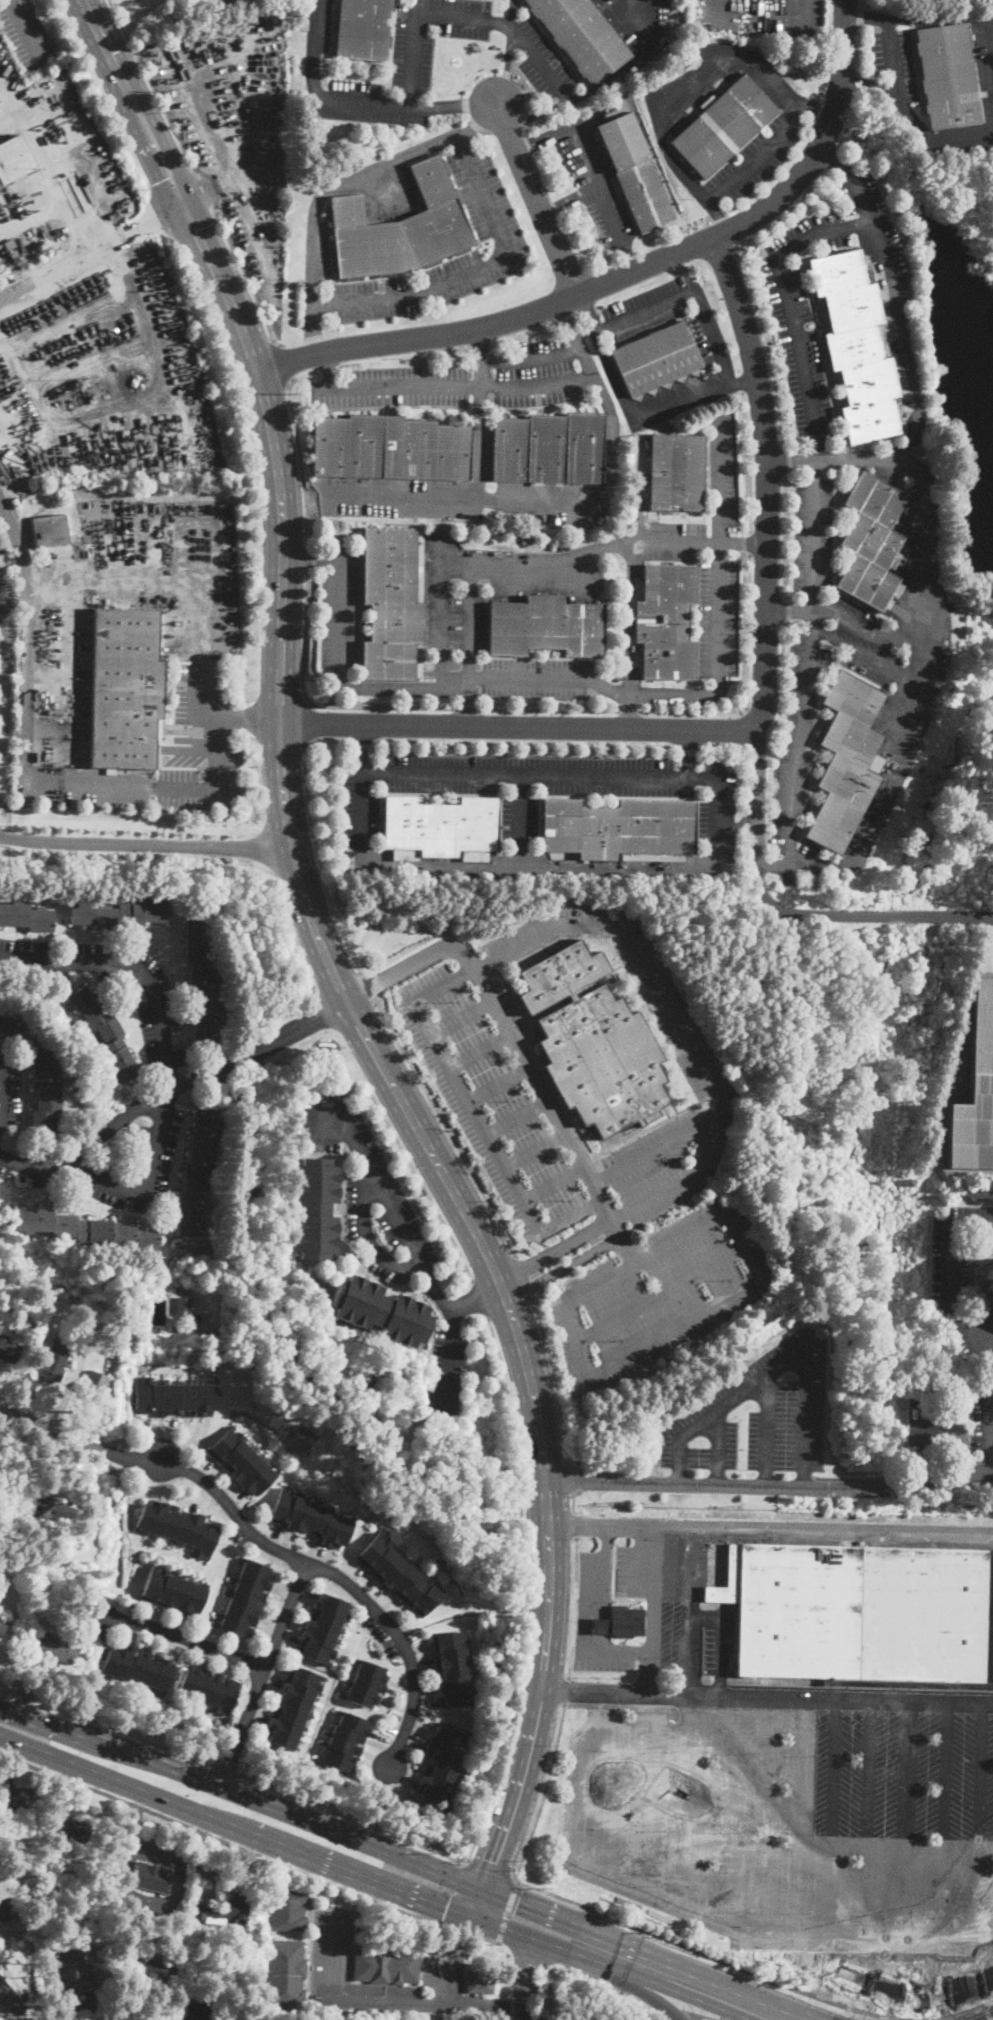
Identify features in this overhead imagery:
building: (215, 3)
road: (513, 11)
road: (420, 13)
road: (866, 16)
road: (963, 17)
building: (363, 29)
road: (25, 30)
building: (581, 36)
parking lot: (431, 37)
road: (313, 49)
parking lot: (541, 61)
road: (507, 63)
building: (947, 76)
road: (603, 83)
road: (870, 84)
road: (153, 85)
road: (683, 85)
parking lot: (368, 103)
road: (452, 105)
road: (814, 105)
road: (908, 114)
building: (723, 126)
road: (844, 136)
road: (543, 138)
road: (761, 158)
building: (13, 159)
road: (833, 160)
road: (835, 161)
building: (633, 169)
road: (359, 175)
road: (171, 181)
parking lot: (595, 181)
road: (594, 186)
road: (204, 190)
road: (538, 198)
road: (569, 199)
traffic signals: (183, 204)
road: (155, 213)
road: (717, 216)
road: (189, 222)
building: (400, 227)
parking lot: (874, 230)
road: (114, 236)
parking lot: (507, 236)
building: (9, 245)
building: (14, 255)
road: (626, 260)
road: (474, 269)
building: (15, 272)
road: (629, 274)
road: (245, 278)
road: (691, 288)
road: (751, 290)
road: (588, 312)
parking lot: (669, 315)
parking lot: (801, 316)
road: (314, 330)
road: (903, 342)
building: (856, 344)
road: (531, 357)
building: (657, 360)
road: (286, 362)
road: (328, 368)
parking lot: (535, 374)
road: (744, 381)
parking lot: (393, 386)
road: (461, 386)
road: (479, 413)
road: (636, 422)
building: (390, 449)
building: (548, 449)
road: (301, 457)
road: (749, 460)
parking lot: (722, 470)
building: (676, 473)
road: (816, 480)
building: (637, 483)
building: (14, 500)
road: (572, 502)
road: (927, 502)
building: (634, 517)
building: (629, 526)
building: (49, 531)
road: (743, 540)
road: (750, 542)
building: (872, 542)
road: (593, 549)
road: (308, 553)
road: (311, 555)
parking lot: (702, 587)
building: (391, 604)
road: (790, 612)
road: (719, 614)
road: (467, 616)
road: (629, 616)
road: (339, 619)
building: (666, 621)
parking lot: (455, 623)
road: (29, 627)
building: (546, 627)
parking lot: (352, 628)
road: (872, 630)
road: (305, 634)
road: (865, 658)
road: (444, 669)
road: (455, 673)
road: (528, 676)
parking lot: (534, 677)
road: (748, 683)
building: (125, 688)
road: (466, 700)
road: (380, 706)
road: (466, 707)
road: (549, 709)
road: (629, 710)
road: (630, 710)
road: (757, 715)
road: (243, 719)
road: (305, 725)
building: (157, 731)
road: (361, 746)
road: (687, 752)
road: (222, 754)
building: (846, 761)
road: (363, 770)
road: (881, 812)
parking lot: (519, 817)
road: (521, 820)
road: (739, 821)
building: (440, 825)
building: (618, 828)
road: (3, 837)
road: (148, 845)
road: (291, 849)
road: (320, 862)
road: (773, 869)
road: (778, 909)
building: (119, 913)
road: (983, 916)
building: (26, 917)
road: (135, 964)
building: (203, 983)
road: (367, 987)
parking lot: (156, 1007)
building: (11, 1023)
building: (105, 1033)
building: (593, 1042)
building: (971, 1085)
parking lot: (9, 1086)
road: (2, 1091)
building: (44, 1092)
road: (171, 1092)
road: (445, 1127)
parking lot: (107, 1166)
building: (197, 1173)
road: (420, 1180)
road: (149, 1182)
parking lot: (370, 1191)
building: (314, 1208)
road: (972, 1228)
building: (87, 1229)
road: (366, 1234)
road: (404, 1235)
road: (451, 1274)
road: (523, 1275)
building: (990, 1280)
building: (184, 1291)
road: (480, 1299)
building: (183, 1306)
building: (379, 1310)
road: (974, 1330)
road: (987, 1338)
building: (9, 1351)
building: (55, 1362)
road: (446, 1363)
road: (780, 1365)
parking lot: (446, 1372)
road: (992, 1373)
road: (555, 1381)
building: (94, 1384)
building: (176, 1396)
parking lot: (756, 1420)
road: (765, 1429)
parking lot: (927, 1430)
road: (928, 1436)
road: (718, 1445)
building: (241, 1460)
building: (652, 1468)
road: (572, 1478)
road: (769, 1484)
road: (573, 1500)
building: (53, 1509)
building: (310, 1517)
road: (574, 1523)
building: (177, 1525)
road: (770, 1528)
road: (267, 1542)
road: (604, 1561)
building: (399, 1574)
road: (283, 1587)
building: (173, 1590)
building: (244, 1597)
road: (574, 1606)
road: (651, 1608)
building: (858, 1610)
building: (4, 1613)
road: (705, 1616)
road: (583, 1618)
building: (989, 1621)
building: (620, 1622)
building: (2, 1625)
road: (602, 1625)
building: (321, 1629)
road: (188, 1639)
building: (59, 1648)
road: (615, 1652)
building: (373, 1654)
road: (251, 1663)
building: (139, 1665)
building: (452, 1667)
road: (262, 1672)
building: (366, 1683)
building: (208, 1688)
road: (566, 1690)
road: (766, 1695)
building: (292, 1704)
road: (510, 1711)
road: (232, 1721)
road: (148, 1740)
building: (345, 1740)
building: (441, 1763)
road: (226, 1769)
road: (517, 1788)
road: (542, 1792)
road: (242, 1793)
building: (20, 1799)
road: (727, 1807)
road: (763, 1813)
road: (797, 1813)
road: (833, 1814)
road: (868, 1814)
road: (907, 1815)
road: (945, 1815)
road: (981, 1816)
parking lot: (789, 1817)
building: (28, 1820)
building: (73, 1830)
road: (264, 1837)
road: (247, 1850)
traffic signals: (493, 1862)
road: (490, 1869)
building: (4, 1871)
building: (150, 1877)
road: (454, 1893)
road: (479, 1903)
traffic signals: (517, 1903)
road: (693, 1907)
building: (4, 1908)
building: (288, 1908)
traffic signals: (447, 1908)
building: (225, 1910)
road: (506, 1910)
building: (239, 1931)
road: (647, 1953)
building: (148, 1966)
building: (387, 1966)
parking lot: (442, 1968)
building: (73, 1970)
building: (286, 1975)
road: (640, 1977)
road: (529, 1978)
building: (480, 1981)
building: (7, 1998)
road: (369, 1998)
road: (487, 2006)
road: (877, 2006)
building: (197, 2011)
road: (750, 2019)
road: (751, 2019)

